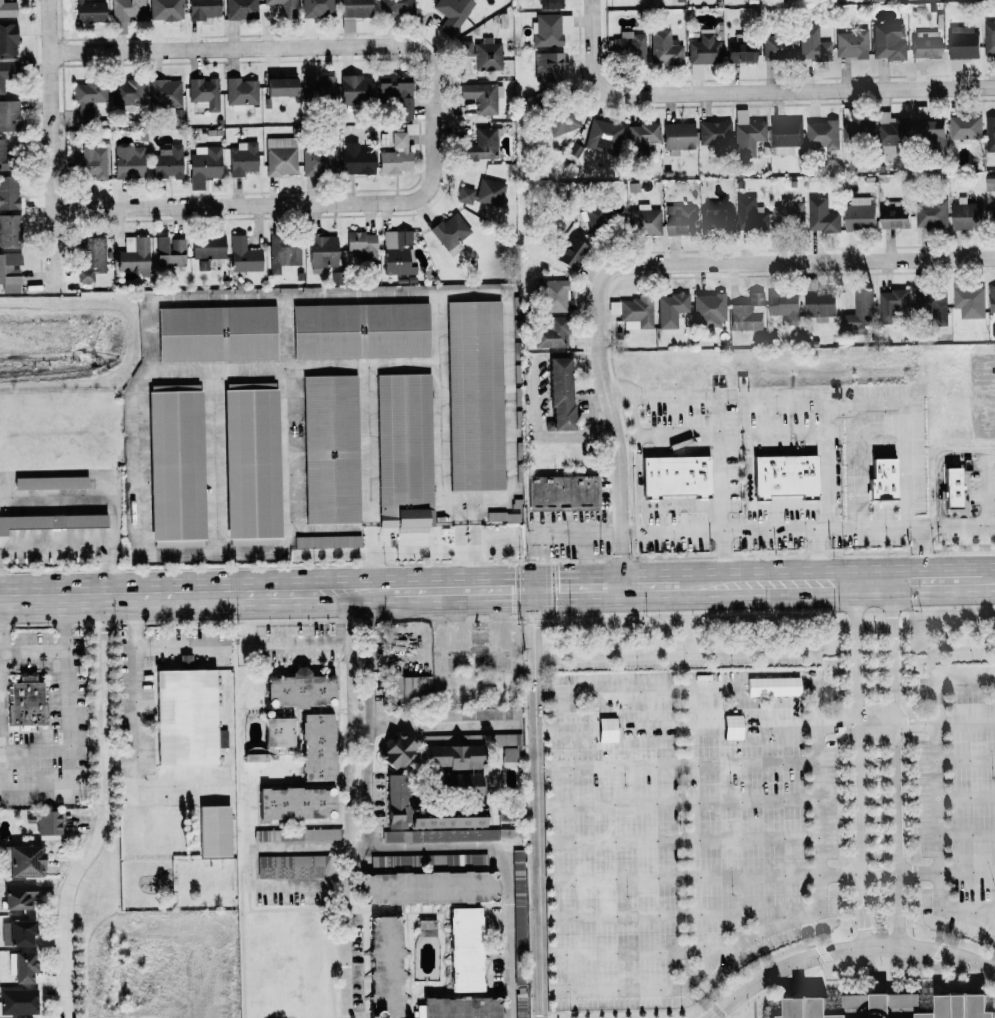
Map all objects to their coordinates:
building: (551, 4)
road: (591, 5)
building: (396, 6)
building: (283, 8)
building: (317, 8)
building: (7, 9)
building: (203, 9)
building: (240, 9)
building: (165, 10)
building: (90, 11)
building: (125, 13)
building: (352, 13)
building: (452, 14)
building: (988, 37)
building: (7, 39)
building: (888, 41)
building: (852, 44)
building: (812, 45)
building: (962, 45)
road: (275, 47)
building: (628, 47)
building: (777, 47)
building: (924, 47)
building: (663, 48)
building: (704, 48)
building: (740, 52)
building: (482, 53)
building: (548, 67)
building: (6, 72)
building: (280, 87)
building: (317, 88)
building: (355, 88)
road: (757, 91)
building: (126, 92)
building: (396, 92)
building: (164, 93)
building: (203, 93)
building: (240, 93)
building: (480, 97)
building: (88, 99)
building: (9, 116)
building: (562, 122)
building: (964, 126)
building: (928, 128)
building: (856, 129)
building: (714, 132)
building: (747, 134)
building: (822, 134)
building: (888, 134)
building: (989, 135)
building: (602, 136)
building: (785, 136)
building: (677, 137)
building: (640, 138)
road: (53, 145)
building: (481, 146)
building: (4, 154)
building: (395, 155)
building: (280, 156)
building: (241, 159)
building: (357, 161)
building: (89, 162)
building: (128, 162)
building: (167, 162)
building: (318, 162)
building: (203, 165)
building: (989, 183)
building: (8, 192)
building: (483, 194)
road: (278, 203)
building: (749, 214)
building: (788, 214)
building: (859, 214)
building: (930, 214)
building: (964, 215)
building: (821, 216)
building: (894, 216)
building: (598, 217)
building: (717, 219)
building: (679, 220)
building: (644, 221)
building: (9, 230)
building: (450, 233)
building: (207, 247)
building: (363, 249)
building: (169, 252)
building: (283, 252)
building: (321, 252)
building: (396, 253)
building: (570, 253)
building: (133, 254)
building: (243, 256)
building: (90, 258)
road: (795, 261)
building: (9, 273)
building: (337, 278)
building: (552, 295)
building: (968, 299)
building: (991, 299)
building: (819, 303)
building: (891, 303)
building: (783, 306)
building: (670, 309)
building: (708, 310)
building: (859, 312)
building: (632, 313)
building: (747, 314)
building: (360, 331)
building: (216, 333)
building: (551, 333)
road: (392, 367)
building: (559, 395)
building: (474, 396)
road: (826, 416)
road: (905, 429)
road: (615, 430)
road: (678, 433)
road: (719, 433)
building: (330, 449)
building: (403, 451)
road: (989, 452)
road: (854, 457)
road: (638, 461)
building: (251, 464)
building: (175, 466)
road: (940, 471)
building: (674, 476)
building: (784, 476)
building: (881, 481)
building: (49, 482)
building: (951, 488)
road: (984, 491)
building: (562, 492)
road: (465, 511)
building: (50, 522)
road: (671, 531)
road: (550, 532)
road: (858, 533)
building: (327, 542)
road: (78, 544)
road: (421, 552)
road: (922, 556)
road: (817, 558)
road: (585, 559)
road: (683, 585)
traffic signals: (533, 588)
road: (360, 590)
road: (174, 594)
road: (349, 615)
road: (306, 641)
road: (177, 646)
road: (34, 649)
road: (945, 683)
road: (694, 686)
building: (411, 688)
building: (300, 691)
building: (25, 702)
building: (463, 714)
building: (185, 718)
road: (69, 723)
road: (441, 724)
road: (765, 724)
road: (370, 728)
road: (136, 731)
building: (279, 732)
building: (503, 739)
building: (318, 747)
building: (400, 752)
building: (508, 754)
building: (255, 757)
building: (454, 757)
road: (120, 758)
road: (965, 759)
road: (893, 763)
road: (860, 764)
road: (676, 765)
building: (455, 786)
building: (397, 791)
road: (966, 797)
parking lot: (959, 798)
road: (677, 802)
building: (297, 803)
road: (536, 803)
road: (104, 812)
building: (48, 822)
parking lot: (685, 827)
road: (347, 829)
building: (213, 830)
building: (509, 834)
road: (966, 834)
building: (296, 835)
building: (440, 835)
road: (678, 839)
road: (938, 843)
road: (302, 845)
building: (22, 859)
building: (517, 865)
building: (289, 866)
road: (504, 867)
road: (946, 871)
road: (700, 876)
road: (303, 885)
building: (430, 888)
building: (18, 896)
road: (972, 908)
road: (674, 913)
building: (519, 920)
building: (428, 927)
road: (764, 928)
building: (16, 932)
road: (844, 948)
building: (467, 949)
road: (634, 951)
building: (22, 966)
building: (388, 967)
building: (17, 1001)
building: (879, 1005)
building: (463, 1008)

